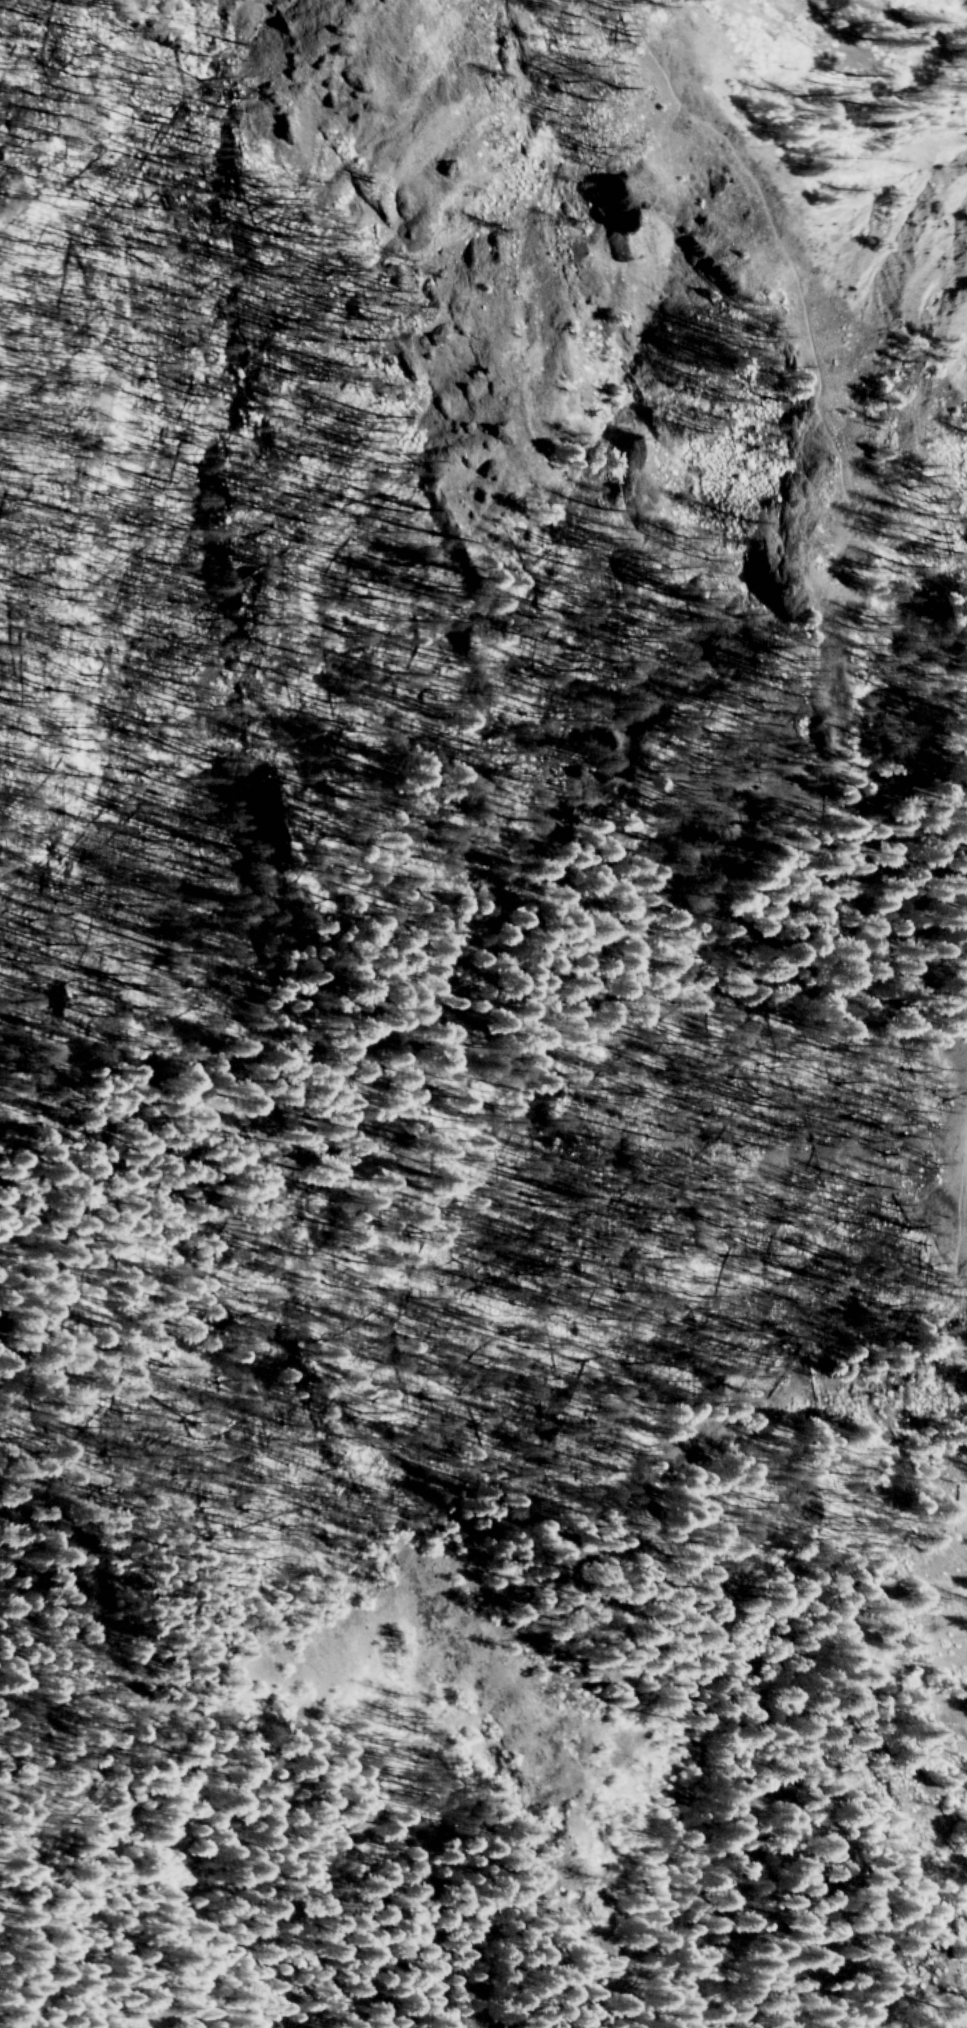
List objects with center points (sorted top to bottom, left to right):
road: (805, 327)
road: (891, 1332)

